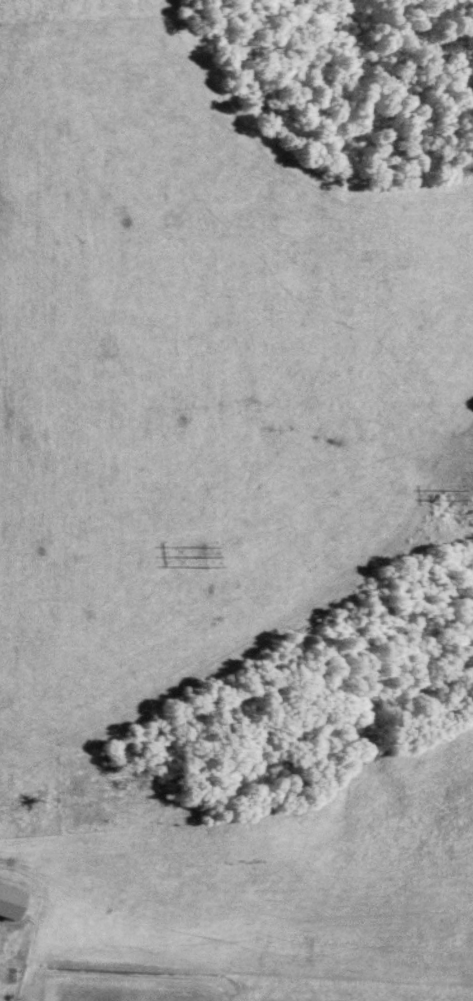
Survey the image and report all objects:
power tower: (455, 501)
power tower: (206, 558)
building: (17, 900)

